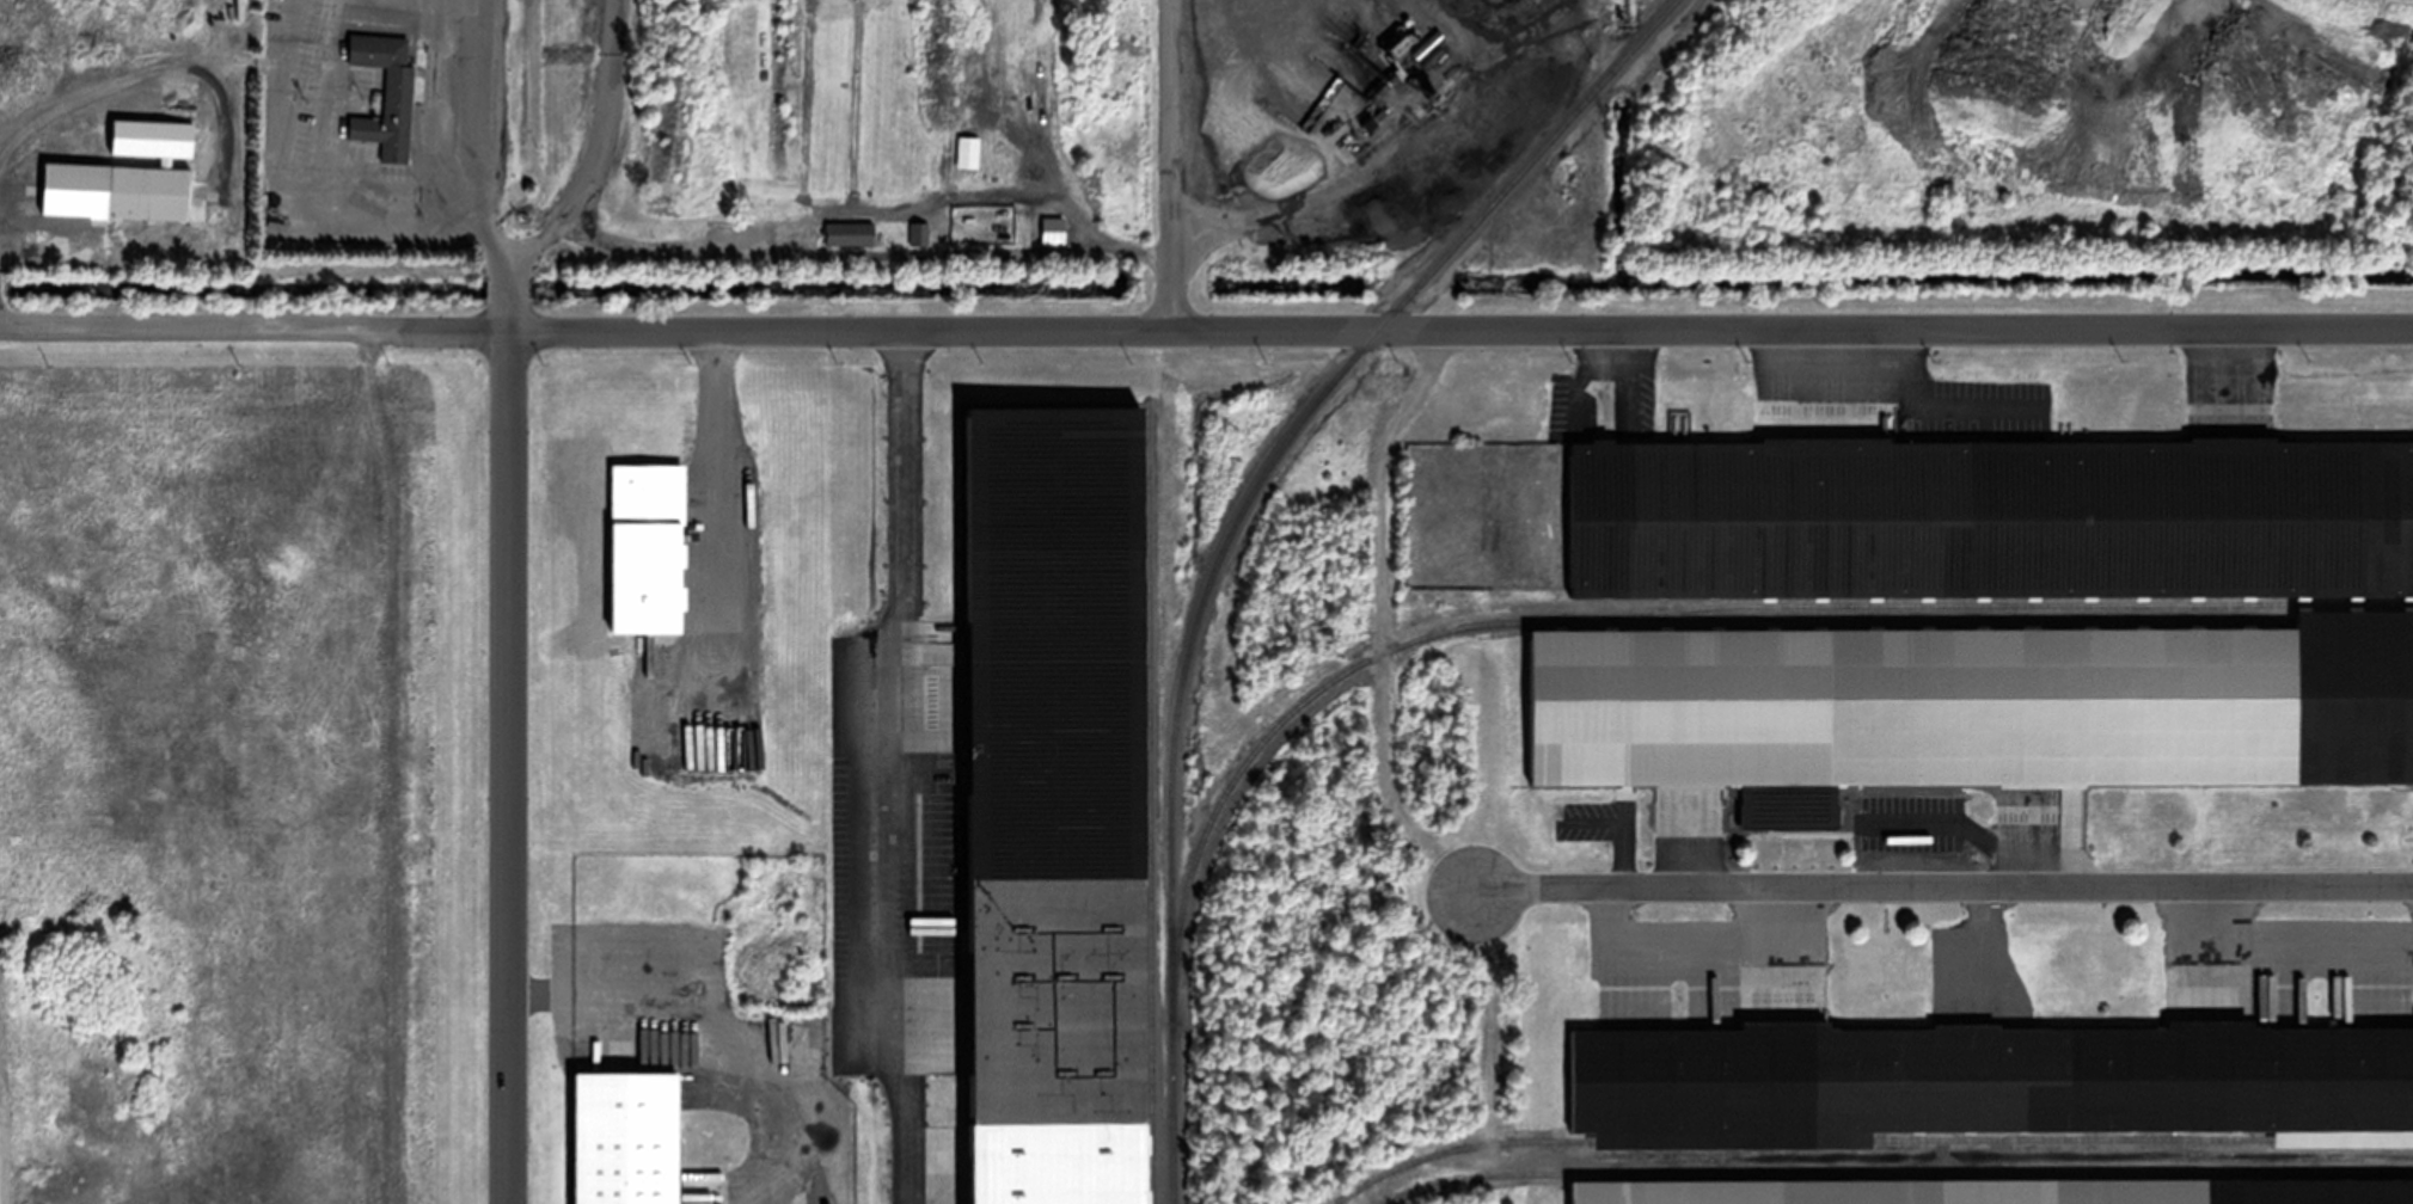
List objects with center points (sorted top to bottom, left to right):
building: (725, 17)
building: (1426, 44)
building: (1395, 49)
building: (1431, 55)
building: (390, 116)
building: (1368, 123)
building: (1336, 152)
crop: (125, 155)
landfill: (375, 155)
road: (1170, 166)
road: (472, 170)
building: (147, 191)
building: (7, 201)
building: (1052, 229)
building: (850, 233)
building: (919, 233)
road: (1206, 331)
building: (1990, 517)
railway: (1232, 524)
building: (645, 546)
railway: (1989, 603)
road: (1380, 619)
railway: (1670, 620)
building: (1970, 707)
building: (1054, 763)
road: (388, 766)
road: (507, 767)
railway: (1147, 799)
road: (1943, 886)
building: (1979, 1081)
building: (624, 1137)
railway: (1863, 1138)
railway: (1896, 1172)
building: (1999, 1191)

